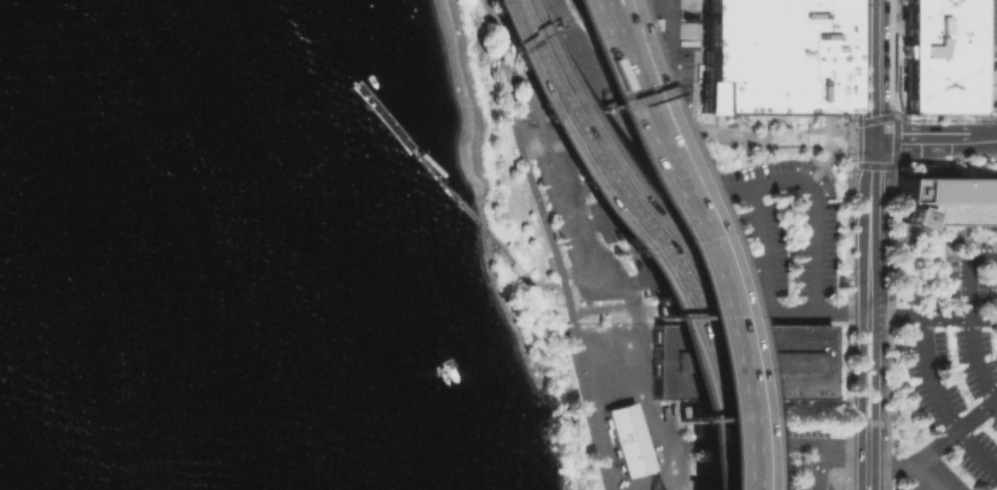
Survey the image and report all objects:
road: (516, 1)
building: (900, 1)
road: (503, 37)
road: (604, 37)
road: (616, 37)
building: (986, 39)
road: (537, 45)
building: (777, 55)
road: (570, 57)
building: (939, 57)
road: (870, 69)
road: (603, 85)
pier: (389, 115)
road: (695, 126)
road: (918, 137)
road: (982, 137)
traffic signals: (870, 139)
pier: (420, 157)
road: (825, 162)
park: (512, 168)
road: (444, 183)
road: (869, 191)
road: (721, 194)
road: (544, 198)
building: (946, 204)
parking lot: (772, 241)
road: (496, 245)
road: (765, 249)
road: (551, 254)
road: (696, 276)
road: (670, 277)
road: (869, 277)
road: (617, 281)
road: (563, 282)
road: (841, 311)
road: (896, 314)
road: (932, 316)
road: (983, 318)
building: (743, 360)
parking lot: (956, 360)
park: (564, 390)
road: (860, 400)
road: (874, 400)
road: (650, 409)
river: (21, 412)
road: (954, 432)
building: (630, 439)
road: (689, 442)
road: (797, 442)
road: (977, 449)
parking lot: (767, 455)
road: (719, 466)
road: (771, 466)
road: (883, 467)
road: (817, 470)
road: (920, 476)
parking lot: (846, 485)

